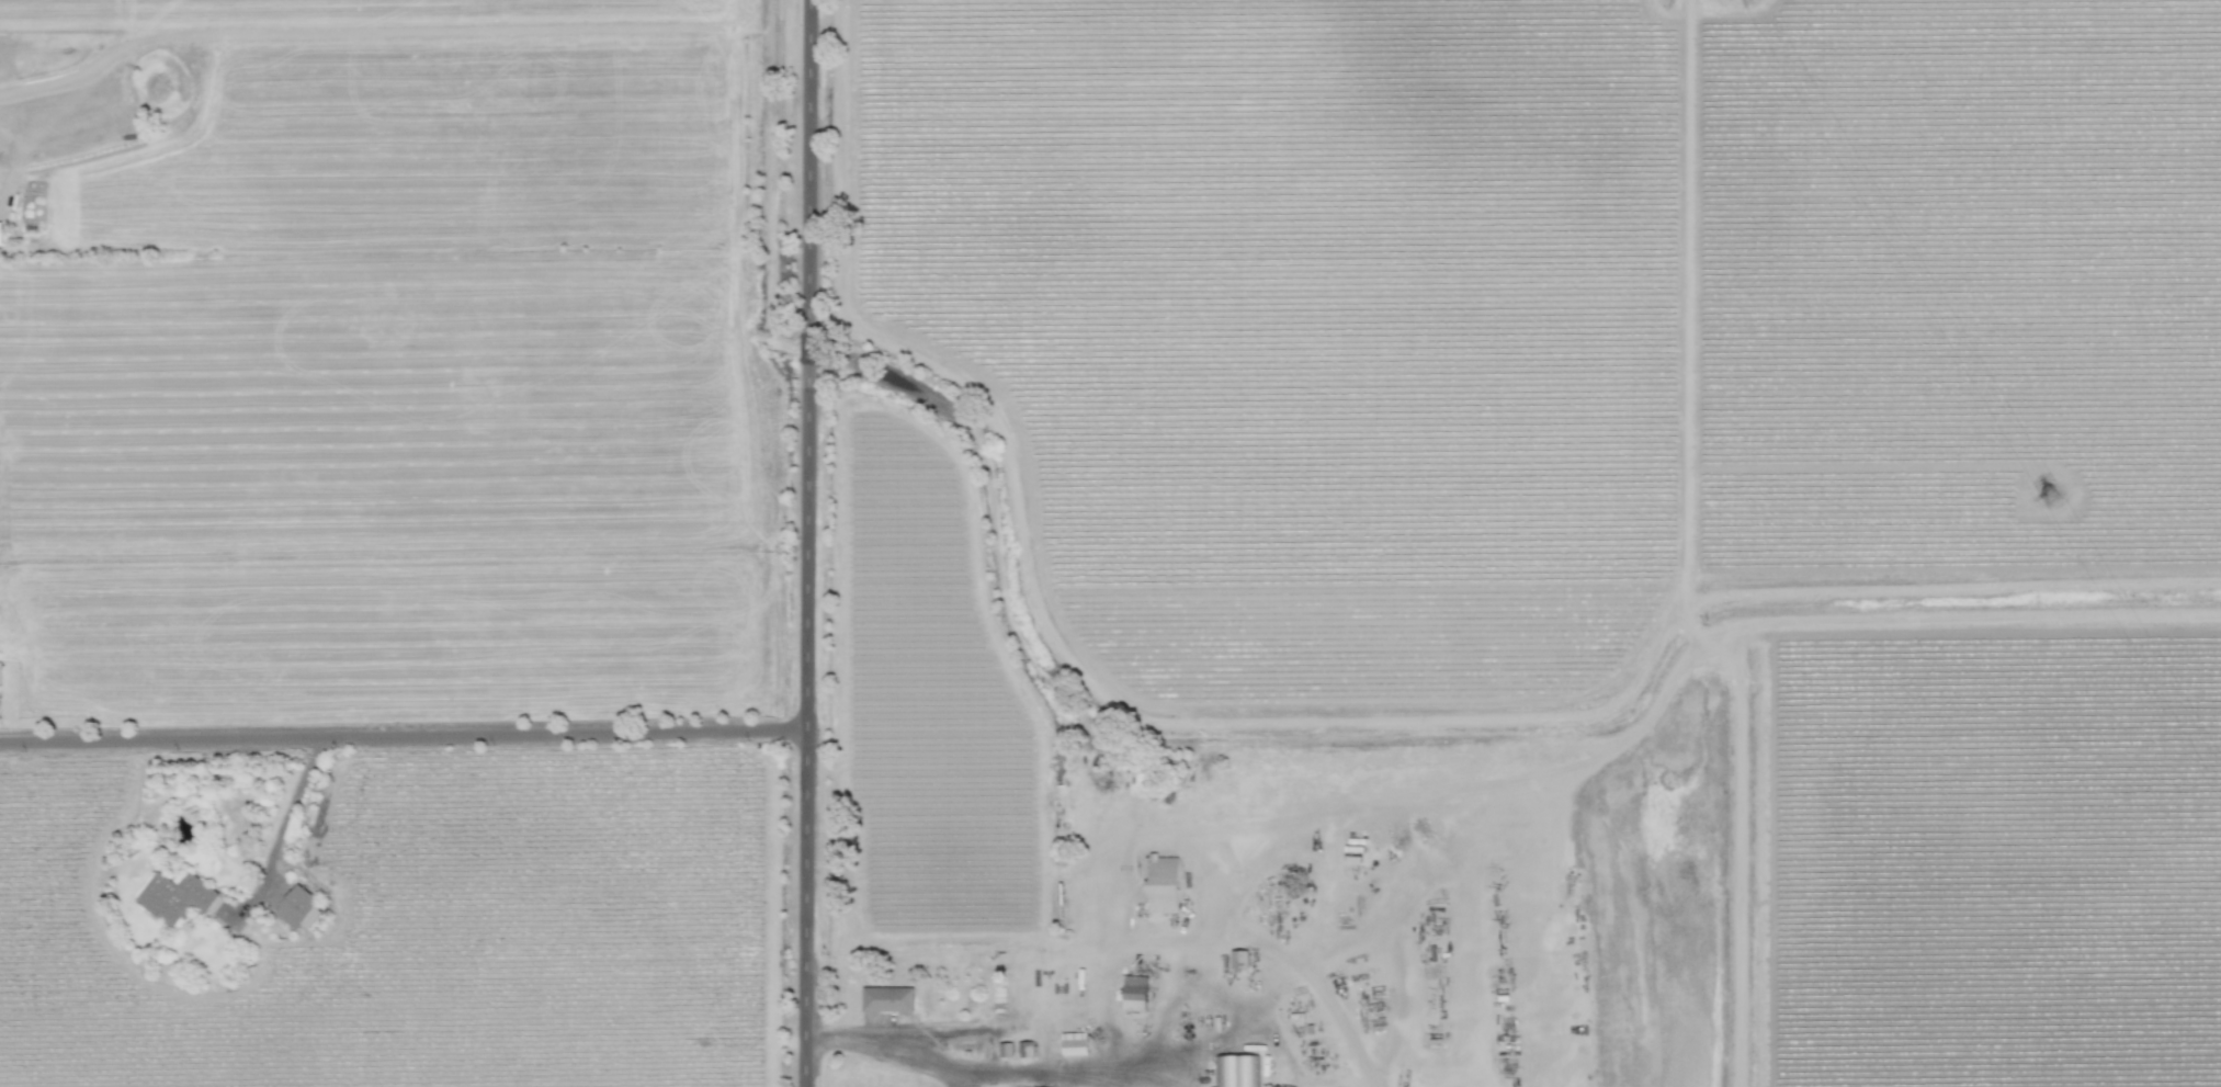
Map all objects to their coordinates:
building: (0, 234)
power tower: (2043, 496)
road: (808, 543)
road: (404, 734)
road: (282, 828)
building: (1163, 884)
building: (175, 897)
building: (299, 908)
building: (1238, 959)
building: (1134, 996)
building: (887, 999)
building: (1074, 1043)
road: (886, 1046)
building: (1236, 1071)
road: (1017, 1072)
road: (961, 1077)

